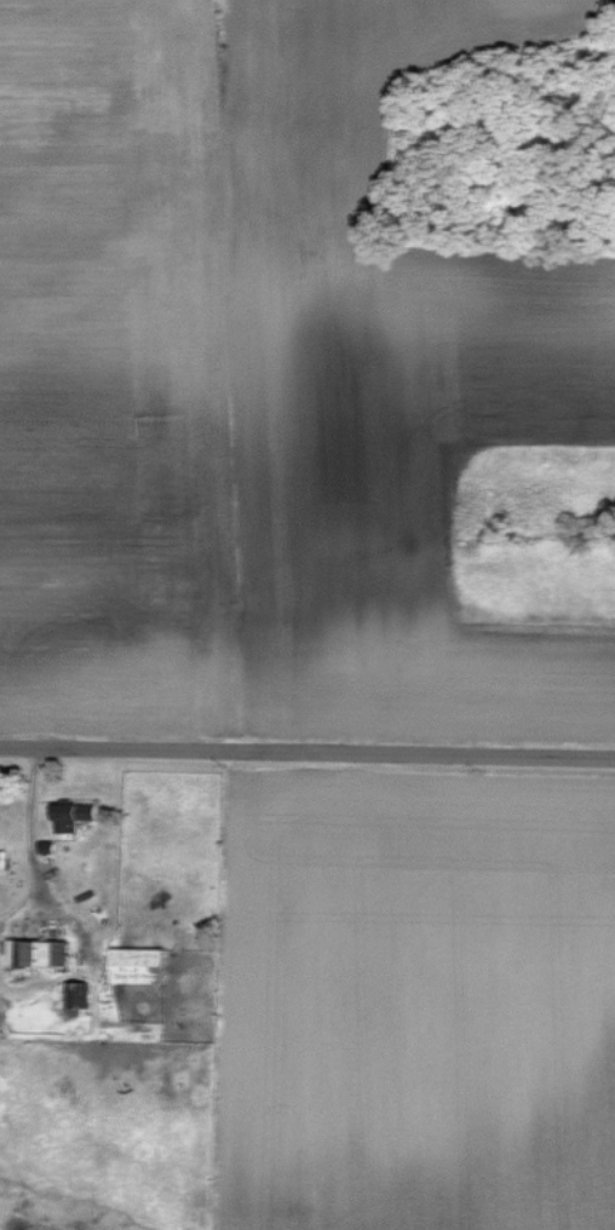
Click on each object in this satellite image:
road: (307, 749)

